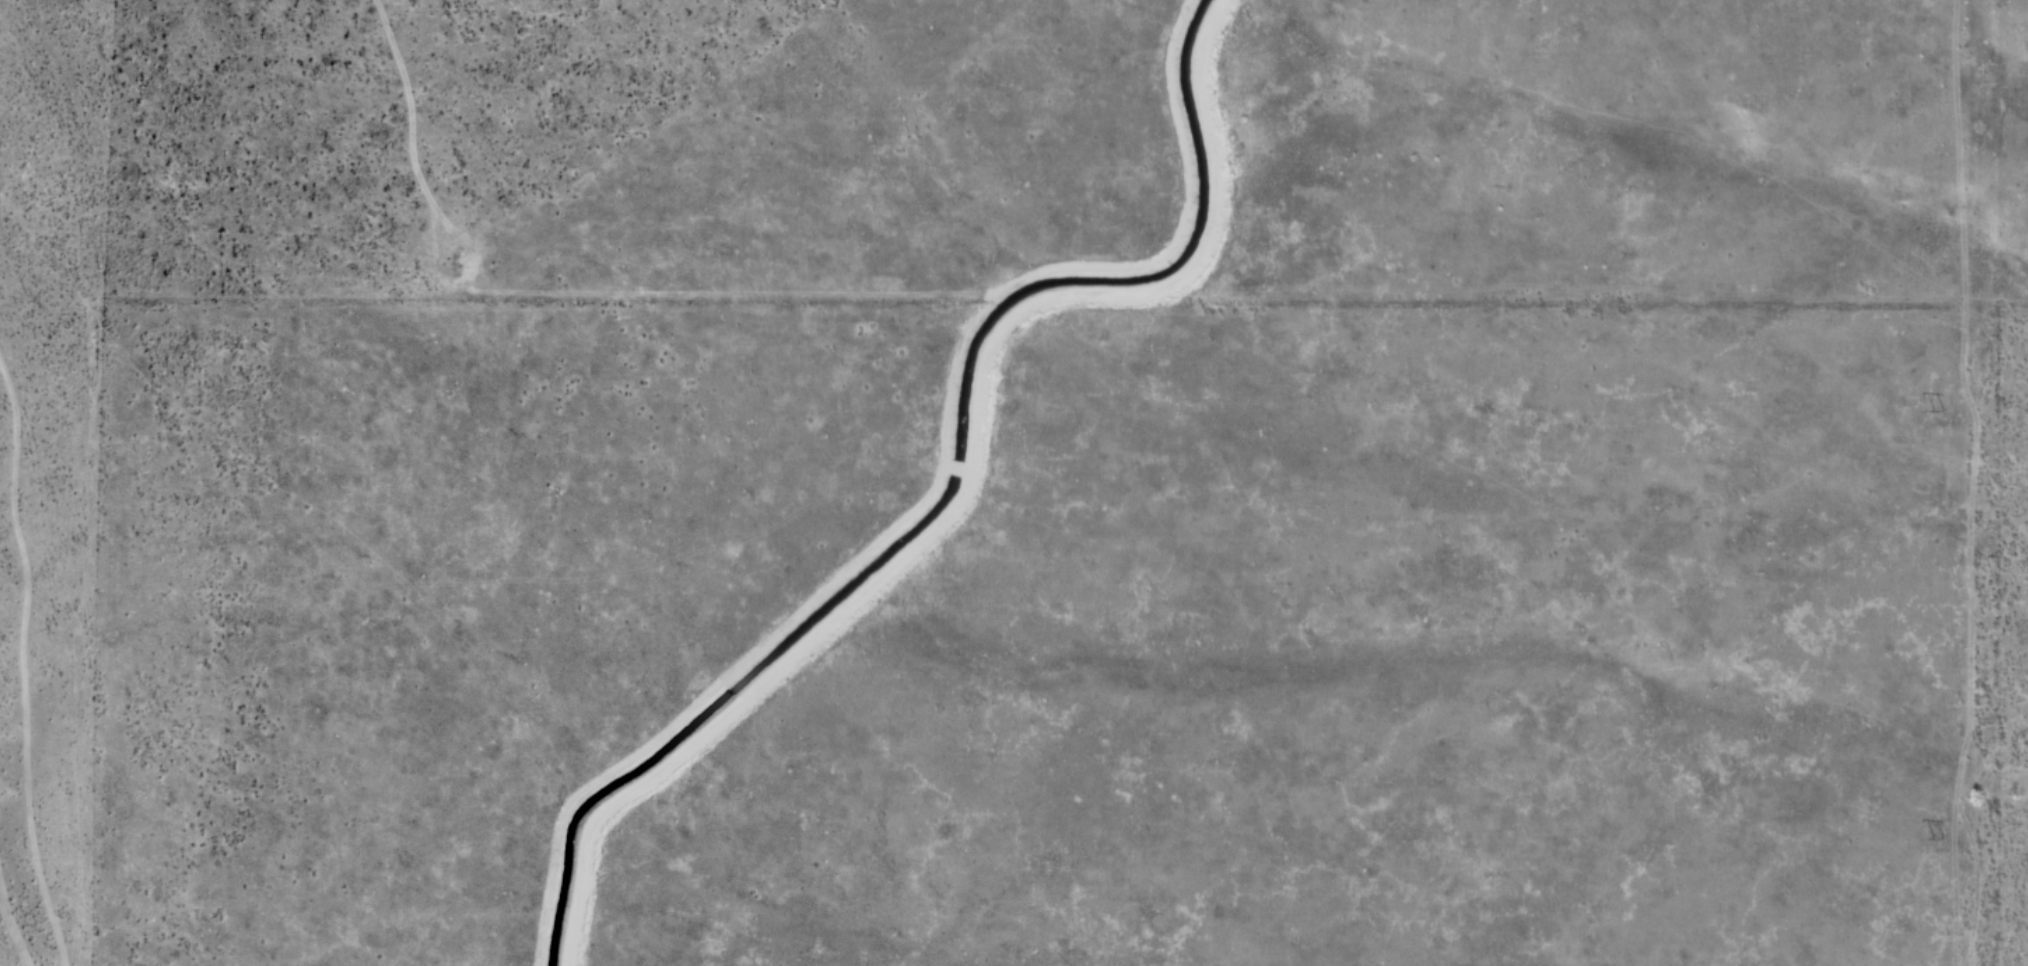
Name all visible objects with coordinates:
power tower: (1936, 408)
power tower: (1936, 841)

